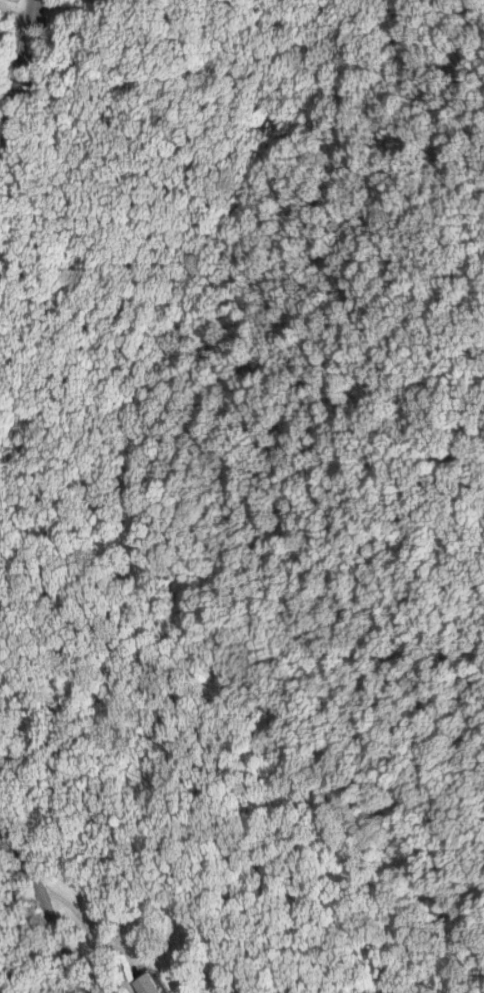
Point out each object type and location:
road: (22, 79)
road: (70, 894)
building: (151, 983)

